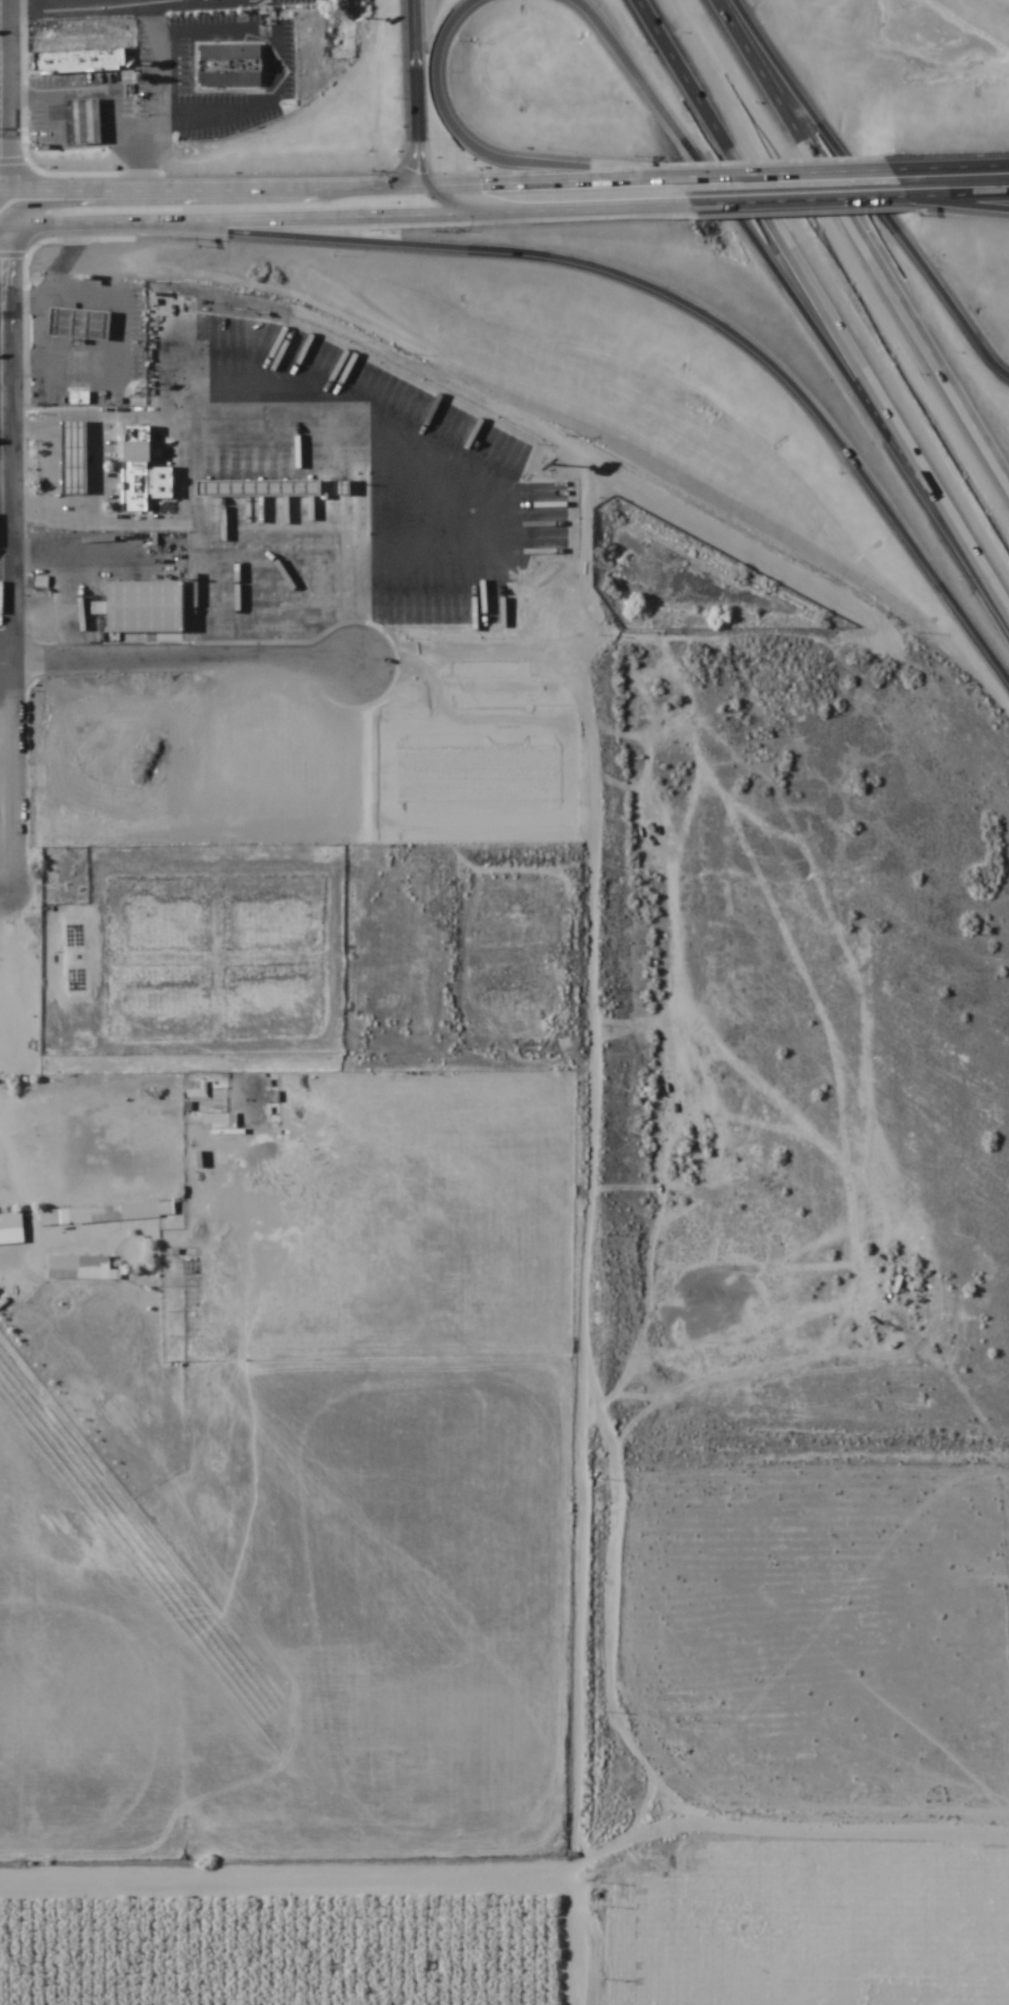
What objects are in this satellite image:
road: (194, 1)
road: (226, 1)
road: (174, 2)
road: (1, 44)
building: (78, 61)
road: (279, 62)
building: (233, 68)
road: (158, 89)
road: (411, 112)
road: (49, 120)
building: (86, 121)
road: (481, 157)
road: (947, 169)
road: (164, 174)
road: (118, 175)
road: (777, 175)
road: (546, 192)
road: (964, 198)
traffic signals: (423, 205)
road: (806, 205)
road: (211, 216)
road: (738, 220)
road: (430, 221)
traffic signals: (425, 222)
road: (868, 233)
road: (84, 236)
road: (204, 239)
road: (64, 256)
road: (2, 293)
road: (829, 297)
road: (18, 301)
road: (78, 303)
road: (705, 319)
street lamp: (32, 320)
building: (86, 322)
gas station: (86, 322)
road: (64, 323)
road: (56, 336)
road: (104, 336)
road: (111, 336)
road: (28, 341)
road: (125, 342)
street lamp: (32, 350)
road: (19, 369)
road: (79, 369)
road: (3, 392)
street lamp: (99, 395)
street lamp: (69, 396)
building: (84, 400)
building: (123, 402)
road: (76, 426)
building: (89, 426)
road: (46, 432)
road: (23, 433)
road: (76, 435)
building: (141, 442)
road: (7, 443)
road: (76, 444)
building: (209, 445)
road: (77, 452)
building: (79, 456)
gas station: (79, 456)
road: (77, 461)
road: (100, 463)
road: (54, 465)
road: (4, 469)
road: (77, 470)
road: (77, 479)
road: (179, 480)
building: (139, 485)
road: (77, 488)
road: (71, 511)
road: (24, 512)
road: (101, 518)
building: (143, 608)
building: (46, 617)
road: (6, 666)
road: (187, 666)
building: (536, 834)
building: (63, 868)
building: (112, 1213)
building: (49, 1218)
building: (11, 1222)
building: (80, 1269)
road: (559, 1360)
crop: (554, 1397)
road: (782, 1893)
road: (278, 1896)
crop: (282, 1946)

